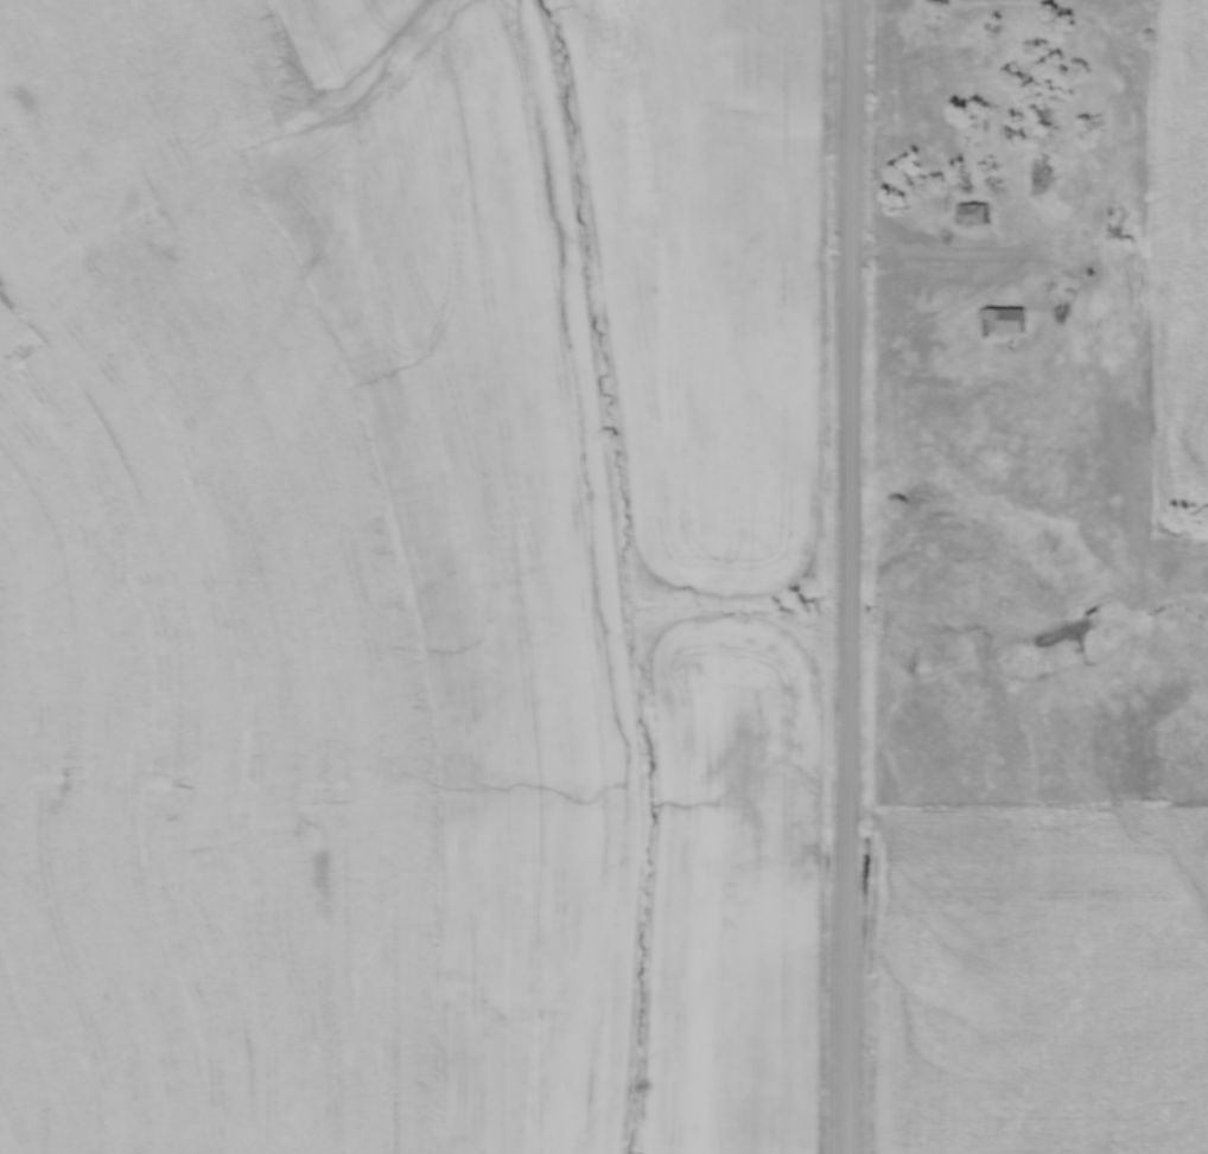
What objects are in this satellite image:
building: (974, 213)
road: (954, 256)
building: (1003, 319)
road: (846, 576)

